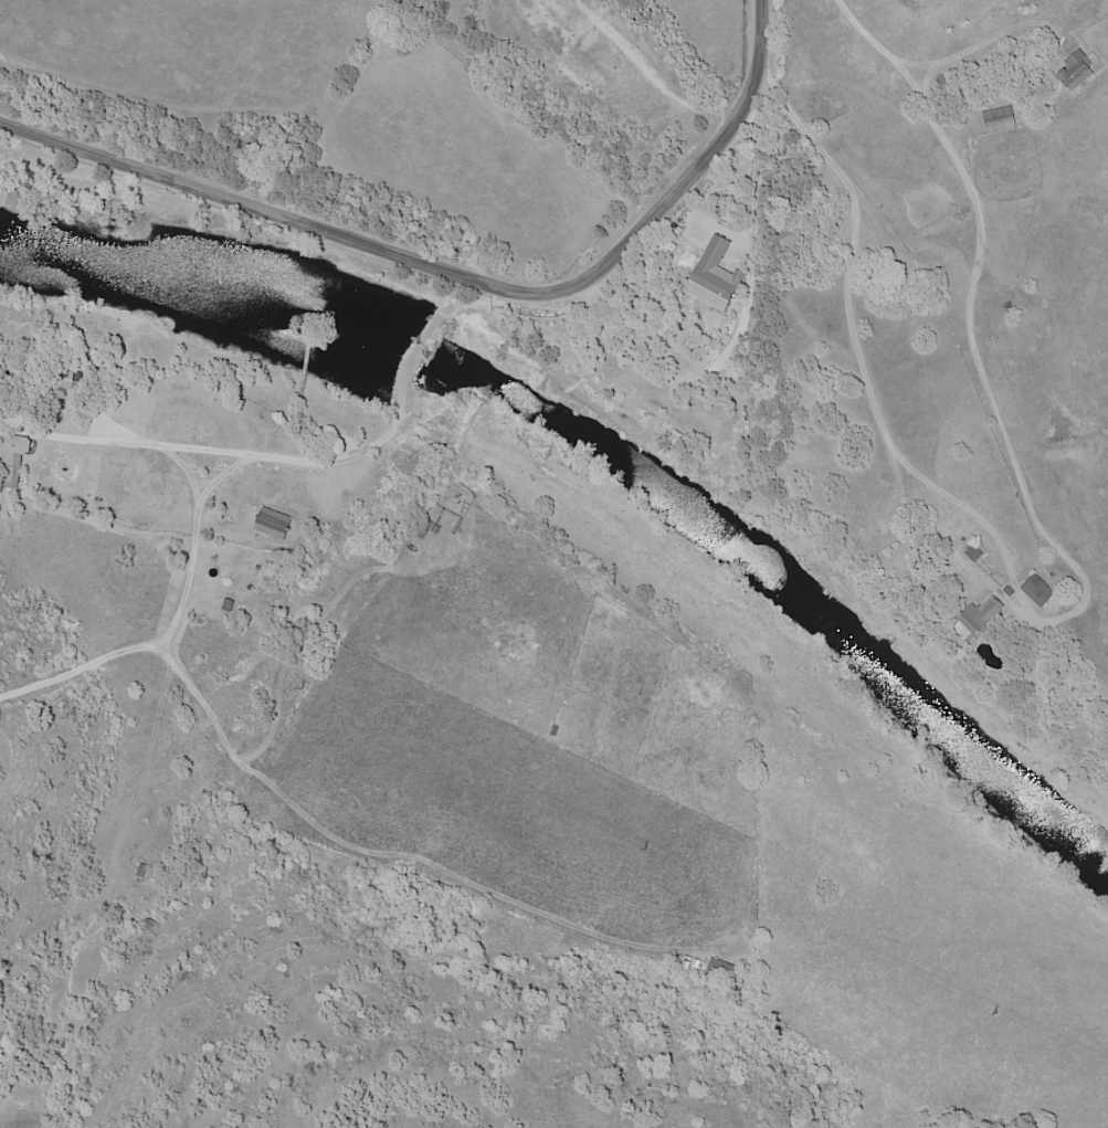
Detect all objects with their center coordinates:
road: (760, 61)
building: (1076, 67)
building: (942, 82)
building: (1002, 119)
road: (399, 255)
building: (13, 456)
road: (310, 462)
building: (276, 524)
building: (978, 554)
building: (1041, 591)
road: (1073, 611)
building: (982, 620)
power tower: (304, 688)
power tower: (644, 850)
building: (721, 973)
power tower: (994, 1014)

